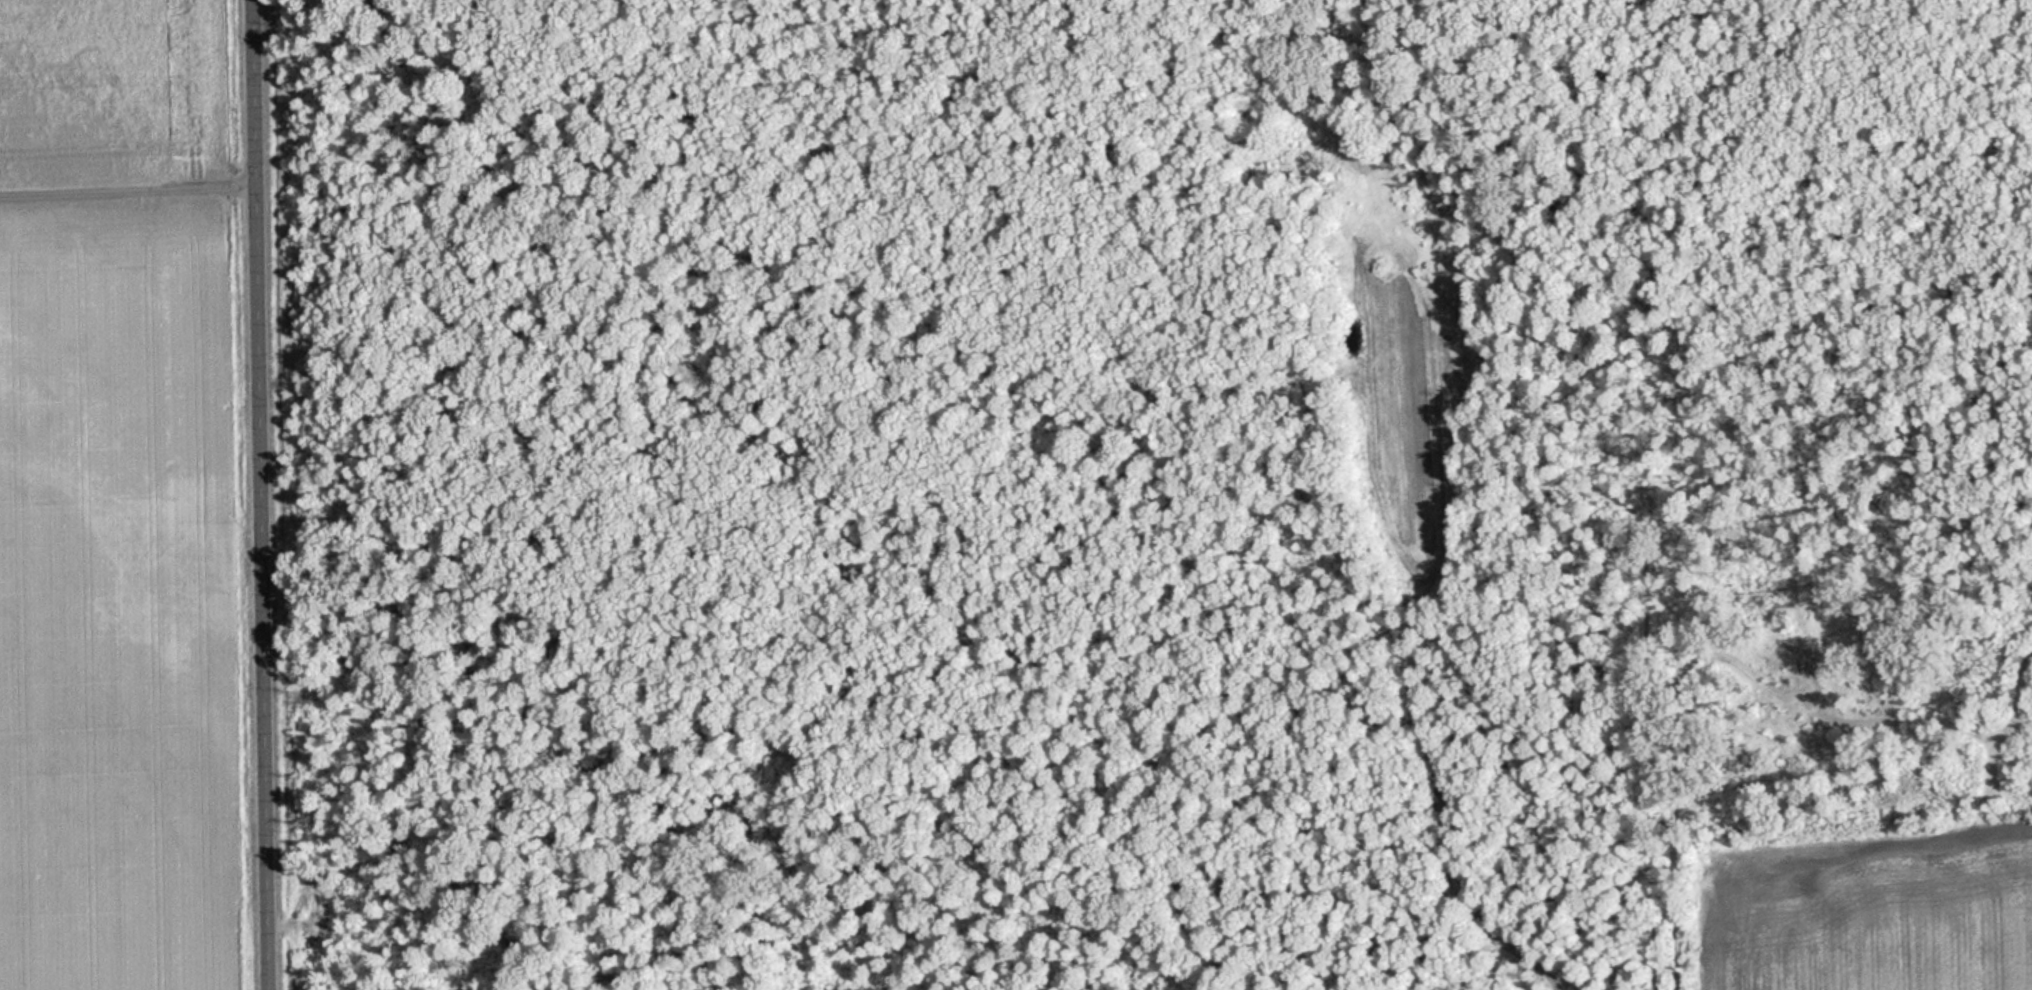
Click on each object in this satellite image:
road: (131, 188)
road: (266, 495)

